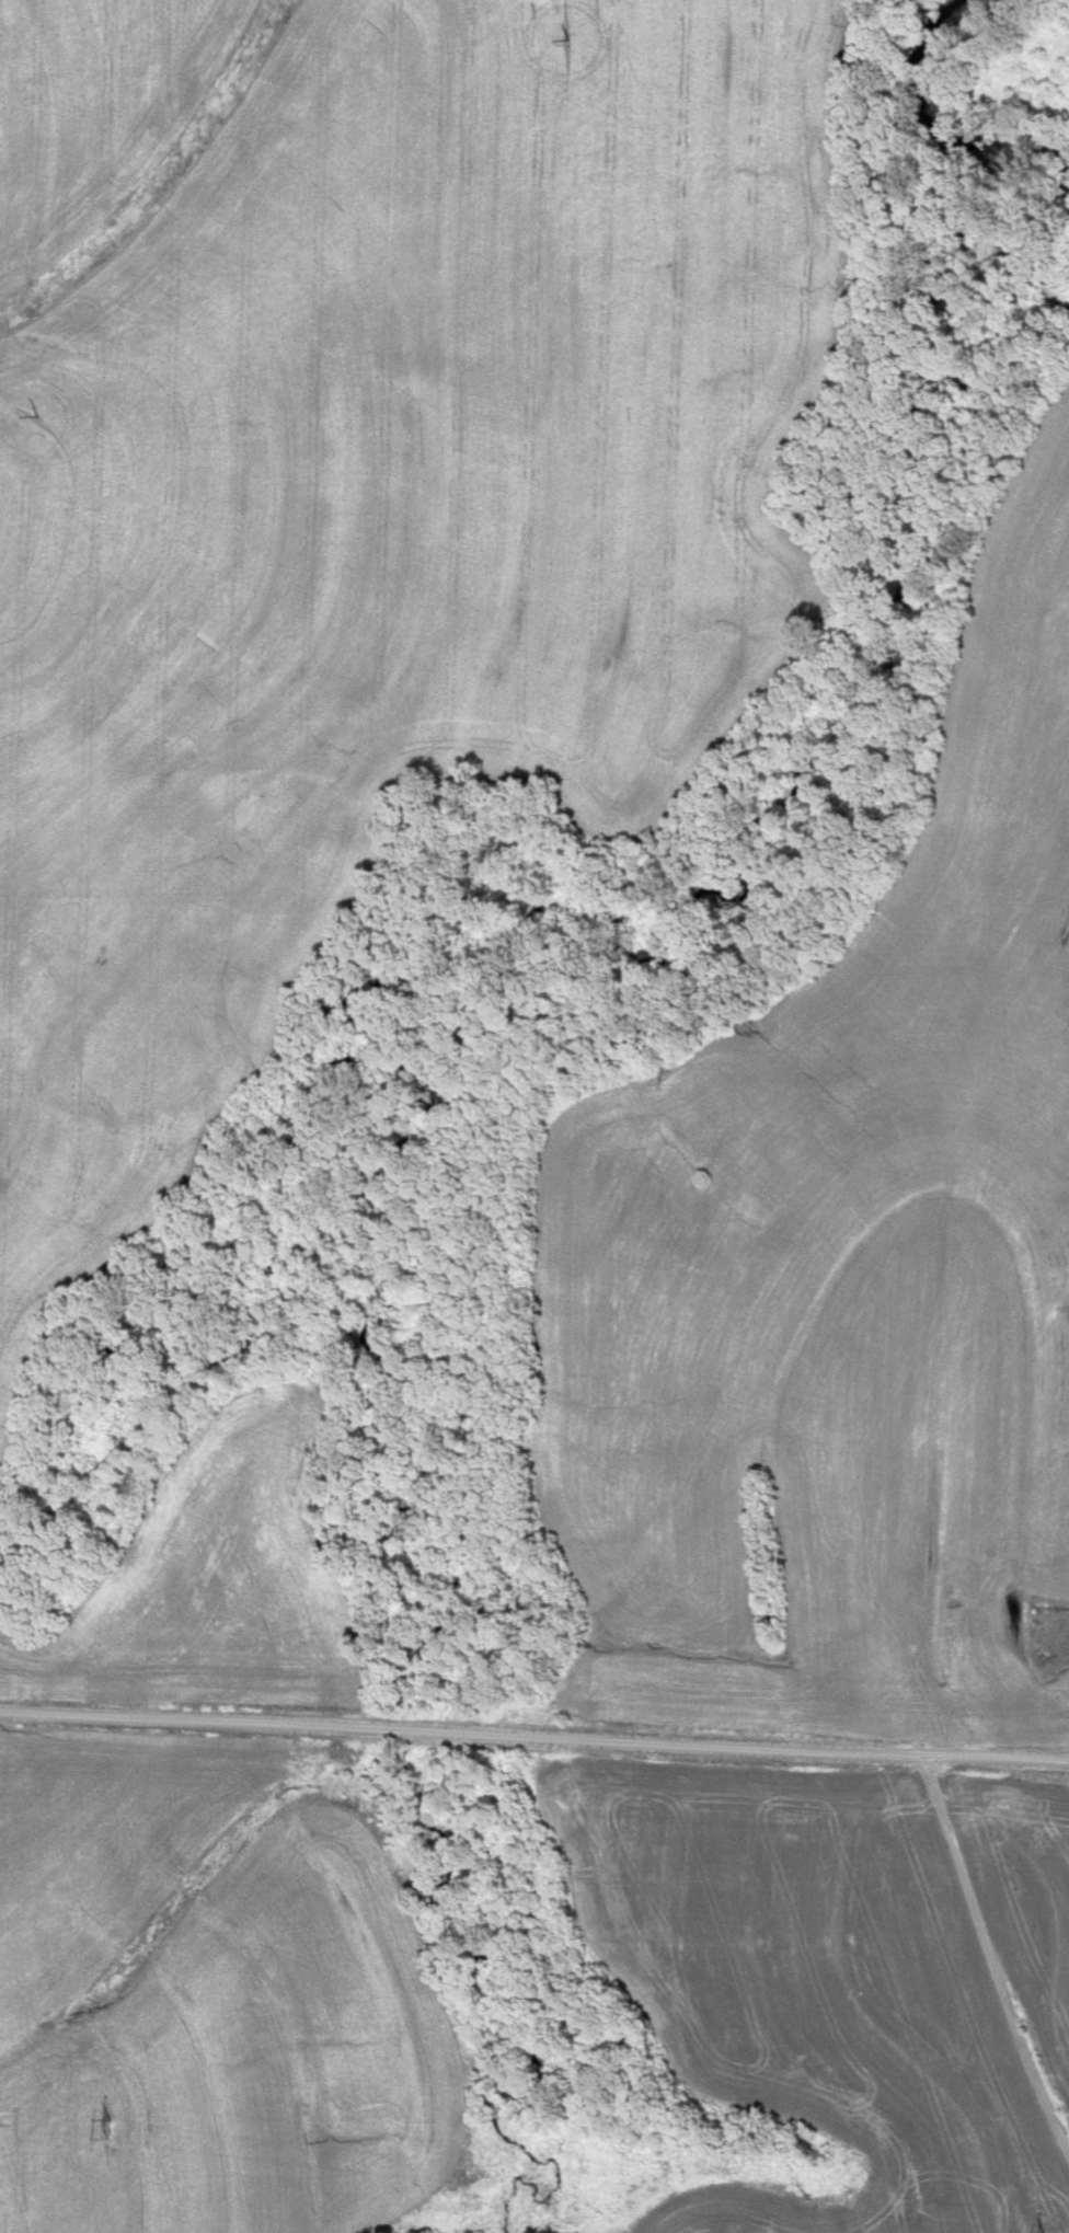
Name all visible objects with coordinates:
river: (942, 134)
road: (533, 1739)
road: (989, 1955)
power tower: (110, 2127)

